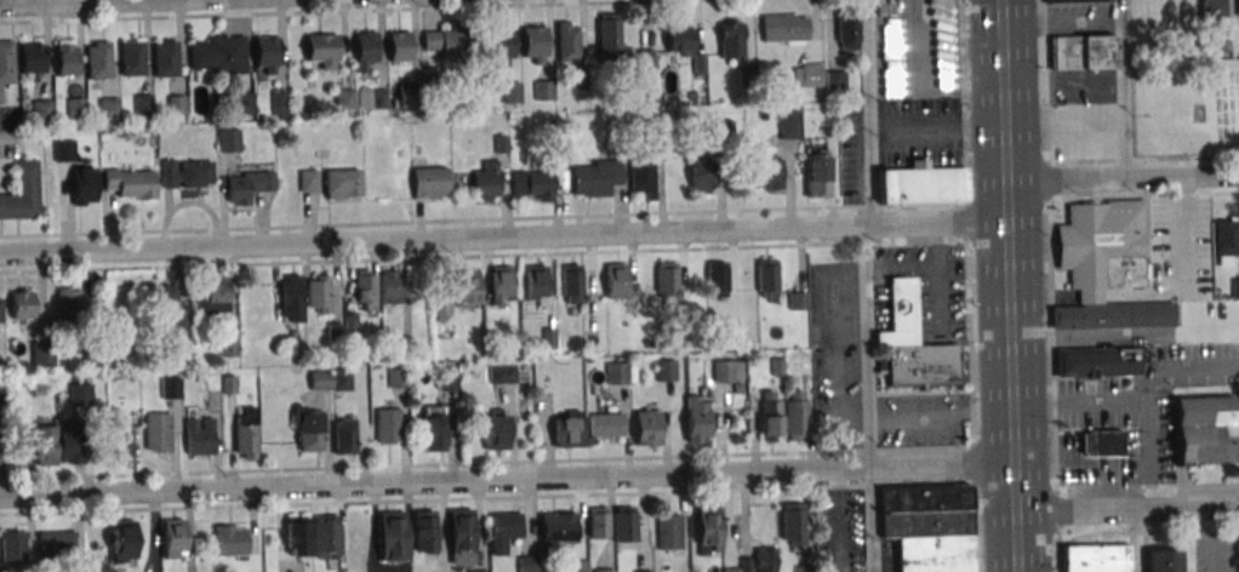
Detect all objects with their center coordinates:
building: (1068, 0)
road: (76, 2)
building: (1237, 7)
building: (1211, 10)
road: (342, 11)
building: (783, 28)
building: (846, 29)
road: (995, 29)
building: (607, 38)
building: (679, 38)
building: (1235, 38)
building: (730, 40)
building: (566, 41)
building: (449, 42)
building: (499, 42)
building: (533, 44)
building: (399, 45)
building: (321, 50)
building: (364, 50)
building: (1085, 51)
building: (265, 53)
building: (131, 56)
building: (217, 56)
building: (64, 57)
building: (29, 58)
building: (165, 58)
building: (645, 58)
building: (97, 59)
building: (6, 61)
building: (698, 64)
building: (806, 74)
building: (748, 76)
building: (578, 79)
building: (835, 79)
road: (1121, 88)
building: (543, 90)
building: (510, 91)
building: (0, 95)
building: (407, 95)
building: (344, 98)
building: (378, 99)
building: (142, 103)
building: (241, 103)
building: (278, 103)
building: (108, 105)
building: (175, 105)
building: (76, 107)
road: (1000, 108)
building: (41, 110)
building: (788, 124)
building: (723, 128)
road: (935, 128)
building: (658, 133)
building: (101, 137)
building: (228, 139)
building: (501, 144)
building: (63, 149)
road: (1142, 159)
building: (765, 172)
building: (185, 173)
building: (640, 173)
building: (702, 175)
building: (816, 175)
building: (595, 177)
road: (1120, 178)
building: (308, 179)
building: (486, 181)
building: (129, 182)
building: (428, 182)
building: (339, 183)
building: (533, 183)
building: (82, 184)
building: (923, 184)
building: (247, 185)
building: (22, 191)
road: (1143, 196)
road: (485, 221)
road: (1186, 229)
road: (503, 236)
building: (1226, 240)
building: (1103, 246)
road: (484, 256)
building: (716, 278)
building: (767, 279)
building: (615, 280)
building: (569, 281)
building: (666, 281)
building: (498, 282)
building: (533, 284)
road: (864, 285)
road: (971, 285)
building: (388, 286)
road: (1047, 286)
building: (1235, 287)
building: (466, 288)
building: (364, 290)
building: (318, 293)
building: (212, 296)
building: (291, 298)
building: (798, 299)
building: (21, 304)
building: (441, 304)
building: (67, 305)
building: (169, 310)
building: (683, 311)
building: (0, 313)
building: (898, 313)
building: (349, 322)
building: (333, 331)
building: (731, 334)
building: (292, 336)
road: (1124, 336)
building: (548, 338)
building: (404, 343)
building: (228, 345)
road: (838, 347)
building: (41, 351)
building: (93, 358)
building: (1098, 359)
building: (920, 364)
road: (1011, 364)
building: (776, 366)
building: (666, 368)
building: (727, 370)
building: (616, 372)
building: (501, 373)
building: (396, 377)
building: (320, 379)
building: (341, 381)
building: (449, 381)
building: (227, 383)
building: (170, 387)
building: (4, 388)
building: (79, 394)
road: (1132, 401)
road: (940, 414)
building: (767, 417)
building: (794, 417)
building: (696, 418)
building: (387, 424)
building: (605, 424)
building: (646, 427)
building: (1205, 429)
building: (156, 431)
building: (308, 431)
building: (433, 431)
building: (495, 431)
building: (245, 433)
building: (567, 433)
building: (199, 436)
building: (343, 436)
building: (118, 439)
building: (68, 442)
building: (1102, 442)
building: (44, 445)
building: (0, 451)
road: (1146, 452)
road: (486, 463)
road: (507, 479)
road: (1146, 486)
road: (487, 498)
road: (1126, 507)
road: (1197, 517)
road: (839, 520)
building: (596, 521)
building: (792, 522)
building: (623, 524)
building: (556, 526)
building: (708, 526)
building: (926, 528)
building: (423, 530)
building: (503, 530)
road: (1146, 531)
building: (669, 532)
building: (296, 534)
road: (1200, 534)
building: (325, 536)
building: (390, 536)
building: (461, 536)
building: (171, 538)
road: (1136, 538)
road: (1221, 538)
building: (121, 540)
building: (229, 542)
building: (55, 543)
building: (12, 547)
road: (1211, 553)
building: (1095, 557)
building: (1161, 560)
building: (759, 561)
building: (527, 564)
building: (577, 566)
building: (805, 568)
building: (730, 570)
building: (480, 571)
building: (603, 571)
building: (643, 571)

